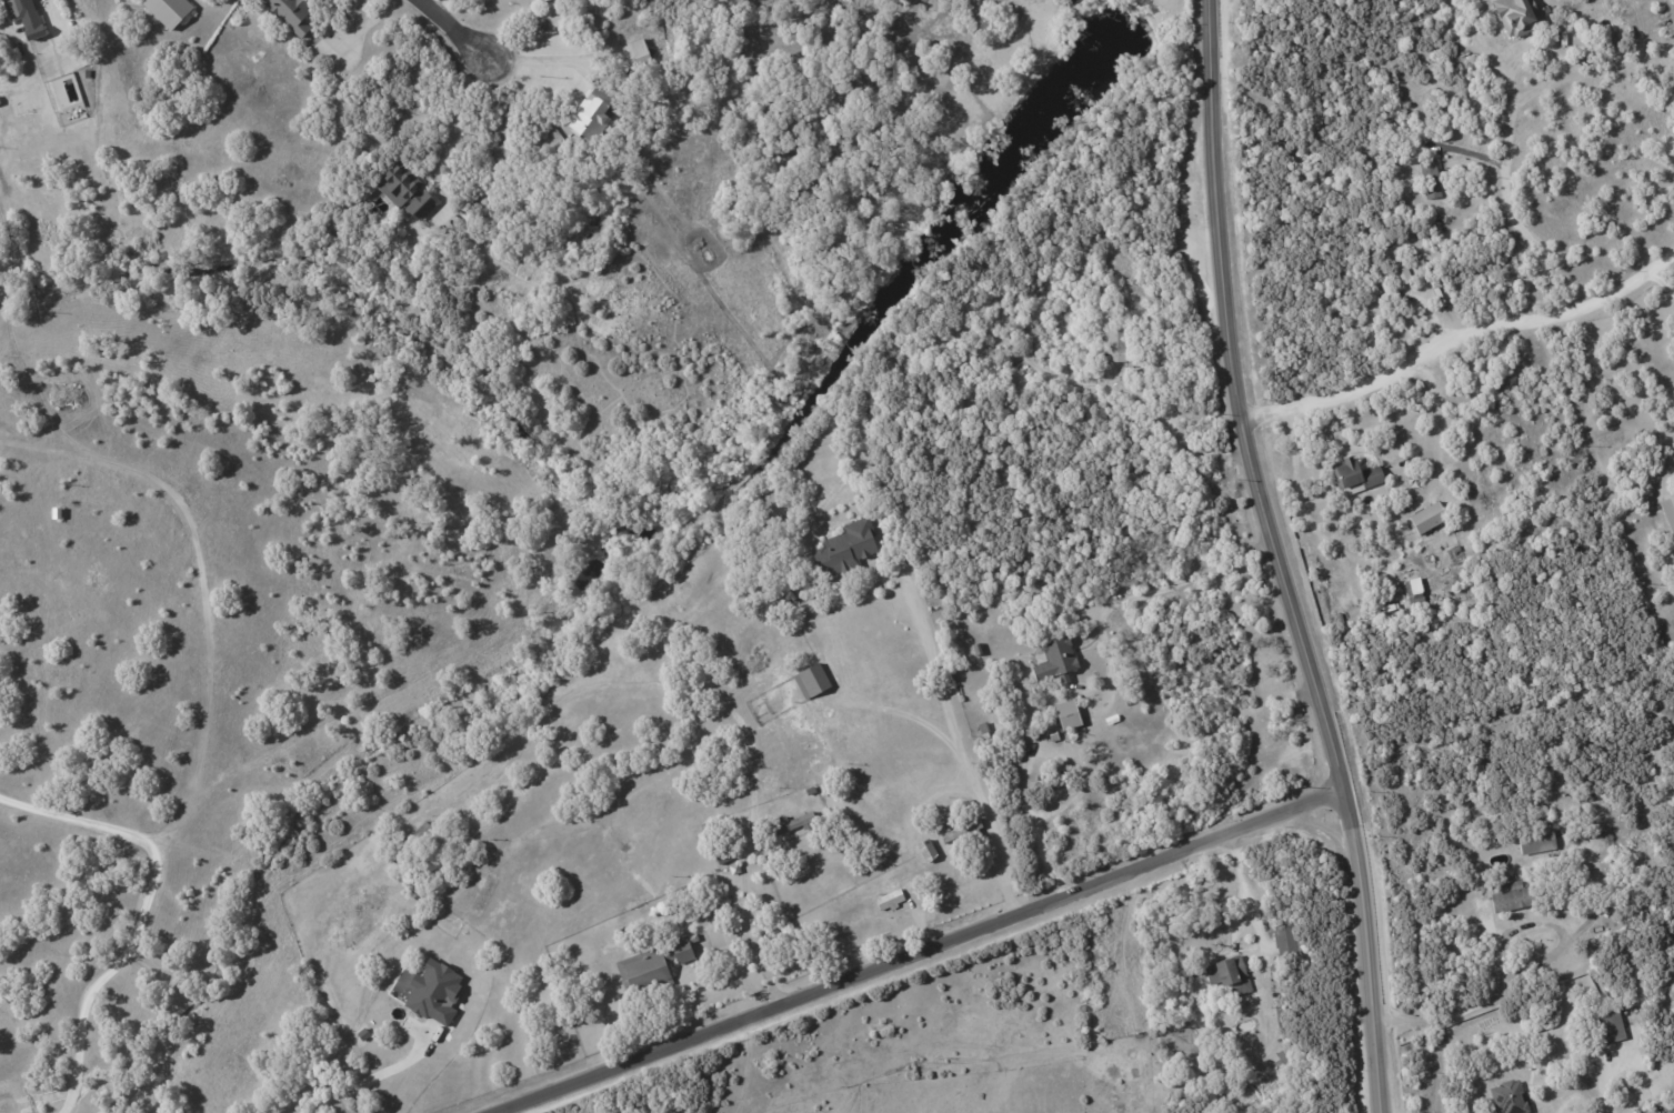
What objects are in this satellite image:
building: (539, 0)
building: (168, 10)
building: (290, 13)
building: (24, 16)
building: (1516, 16)
road: (453, 28)
building: (638, 50)
road: (16, 54)
road: (542, 59)
building: (589, 114)
road: (1506, 129)
road: (447, 130)
building: (1429, 178)
building: (404, 191)
building: (1417, 268)
building: (1402, 274)
road: (1663, 284)
road: (1461, 335)
building: (1115, 344)
road: (1187, 441)
building: (1354, 475)
building: (1668, 512)
building: (1426, 517)
building: (845, 548)
road: (1284, 558)
road: (1173, 582)
building: (1414, 586)
building: (1054, 660)
building: (811, 680)
building: (1066, 714)
road: (1022, 745)
road: (964, 765)
road: (1081, 776)
building: (790, 822)
building: (1535, 840)
building: (925, 849)
road: (1240, 891)
building: (1506, 895)
building: (889, 899)
road: (140, 910)
road: (748, 915)
road: (1256, 929)
building: (1284, 939)
building: (682, 947)
road: (923, 955)
building: (644, 970)
building: (1227, 974)
building: (433, 992)
road: (1481, 1007)
building: (1607, 1026)
road: (739, 1064)
road: (394, 1076)
road: (1601, 1083)
building: (1506, 1097)

